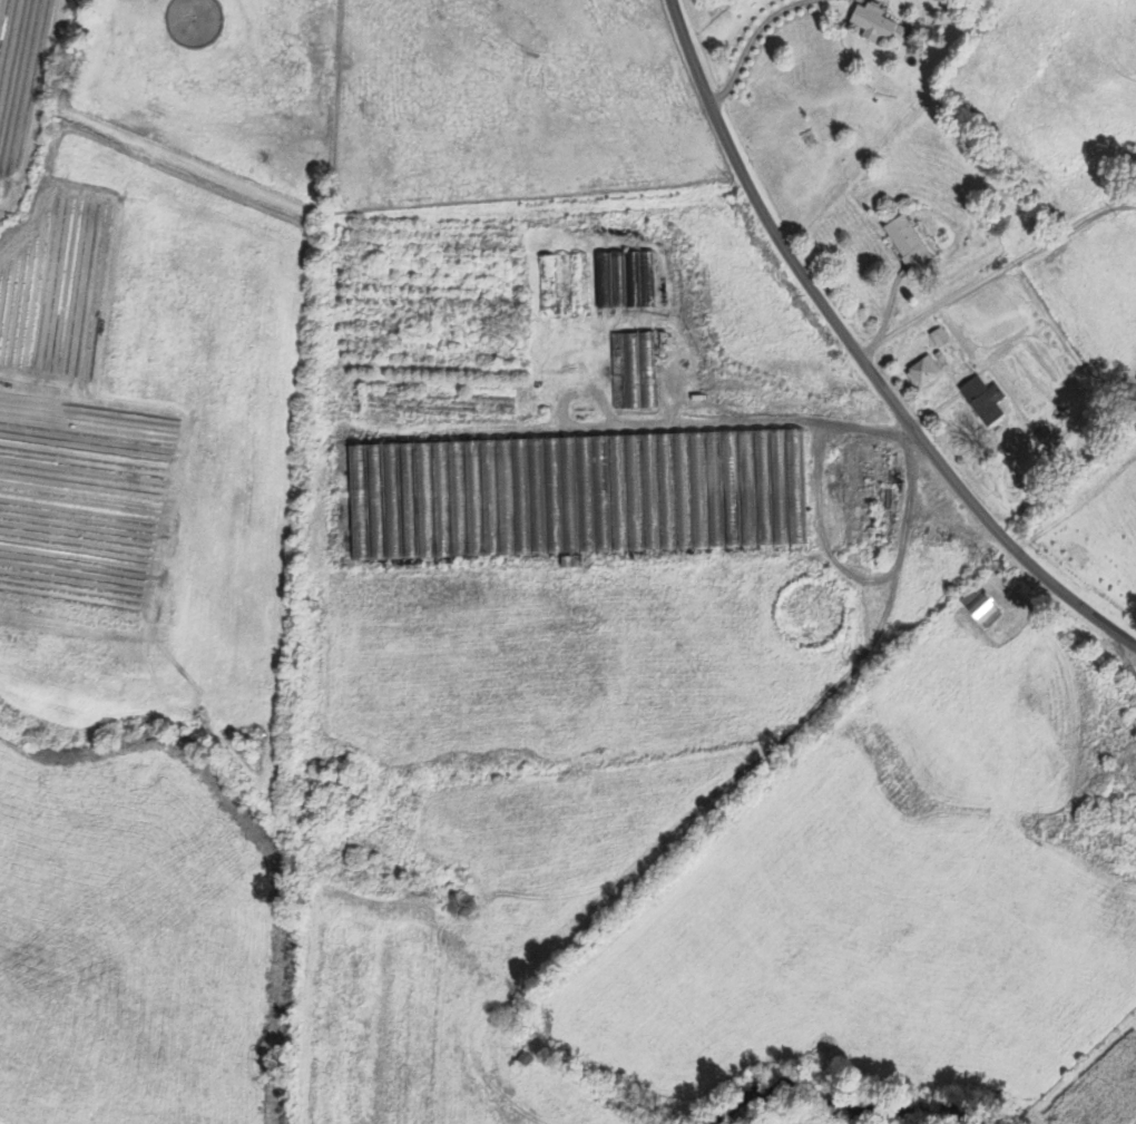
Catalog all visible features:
building: (875, 25)
road: (747, 184)
building: (911, 245)
road: (980, 260)
building: (628, 281)
building: (941, 339)
building: (637, 371)
building: (924, 372)
building: (987, 401)
building: (540, 492)
road: (983, 515)
building: (990, 613)
river: (833, 1082)

